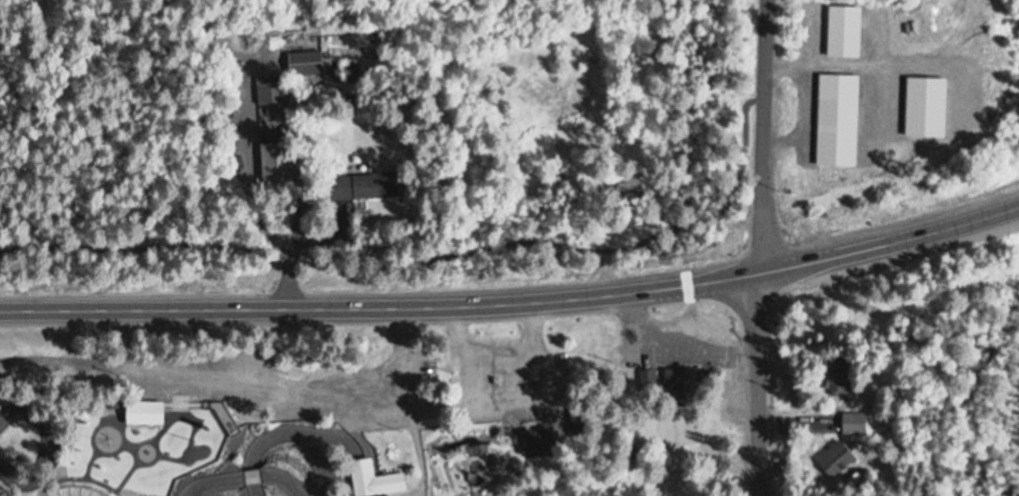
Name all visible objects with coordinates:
building: (302, 62)
building: (855, 86)
building: (272, 94)
road: (763, 134)
road: (744, 151)
building: (273, 164)
building: (363, 186)
road: (891, 240)
road: (390, 271)
road: (688, 291)
road: (381, 302)
building: (847, 375)
building: (653, 380)
road: (762, 382)
building: (688, 388)
building: (149, 414)
building: (230, 415)
building: (586, 423)
building: (859, 426)
building: (548, 444)
building: (841, 462)
road: (430, 465)
building: (379, 481)
road: (427, 489)

